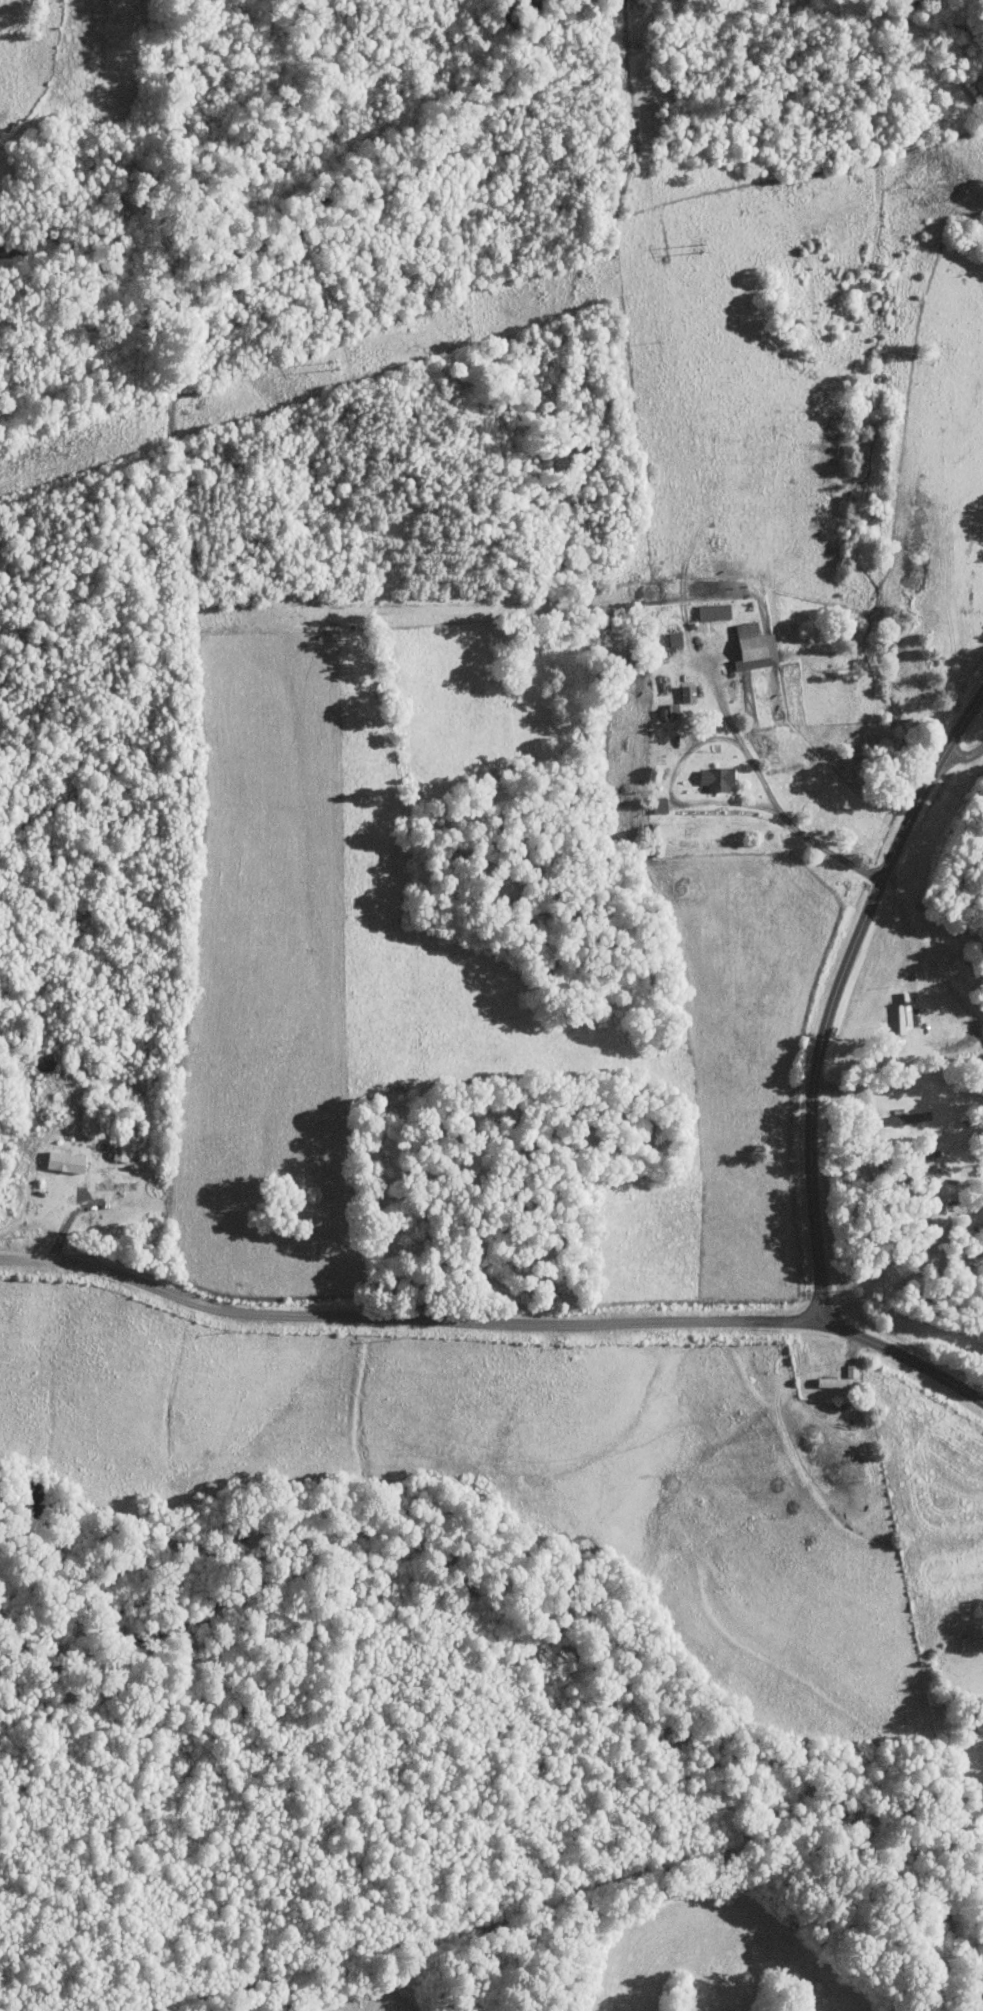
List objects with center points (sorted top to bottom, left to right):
building: (717, 611)
building: (678, 638)
building: (758, 647)
building: (691, 693)
building: (676, 710)
road: (963, 753)
building: (721, 778)
road: (769, 791)
road: (672, 795)
building: (662, 805)
road: (924, 949)
road: (836, 988)
building: (68, 1160)
building: (116, 1184)
road: (498, 1324)
building: (854, 1369)
building: (836, 1381)

